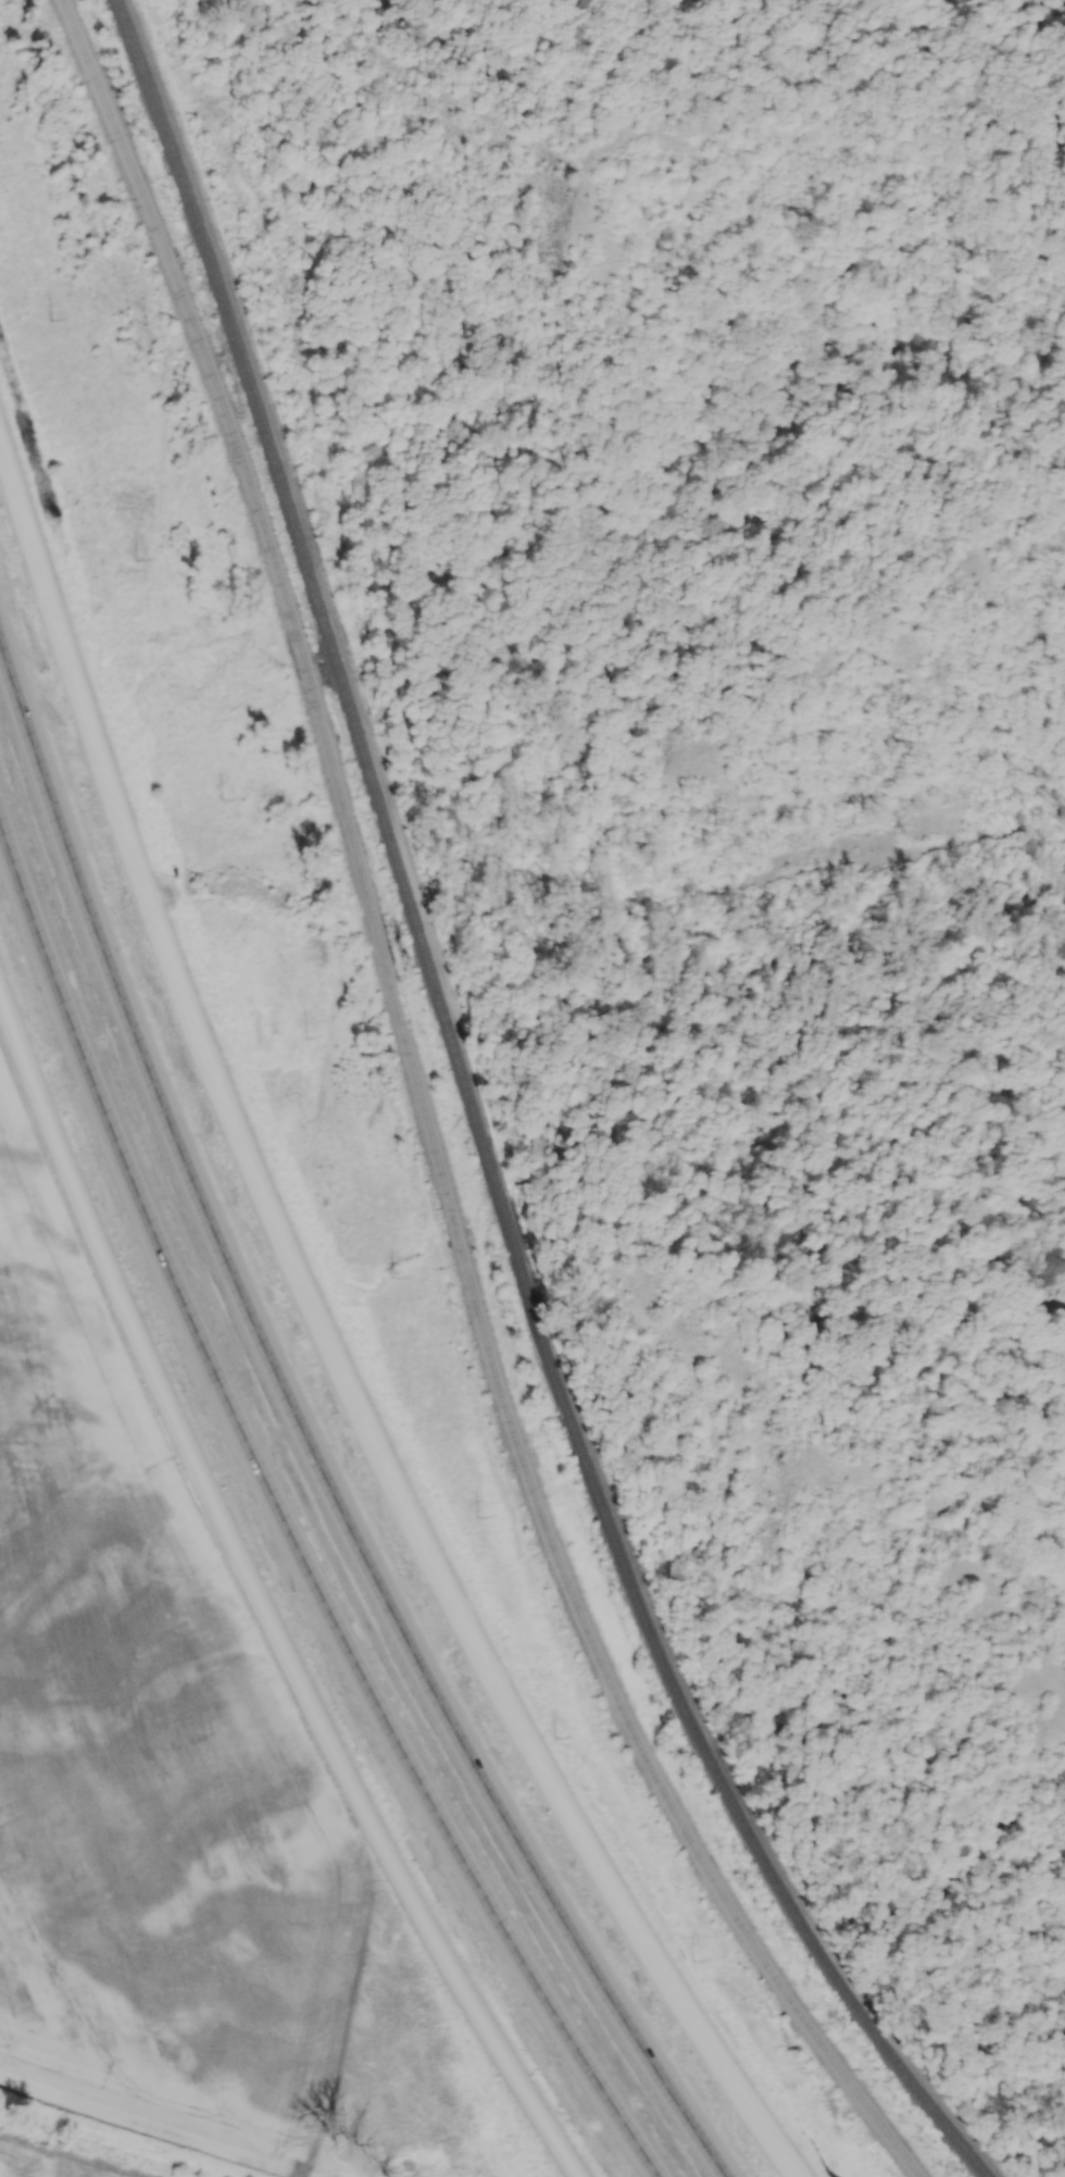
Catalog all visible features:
power tower: (50, 322)
power tower: (138, 563)
power tower: (220, 799)
power tower: (305, 1037)
railway: (425, 1119)
railway: (480, 1122)
power tower: (393, 1277)
road: (327, 1346)
road: (305, 1436)
power tower: (477, 1516)
road: (284, 1526)
road: (259, 1601)
power tower: (553, 1738)
power tower: (692, 1962)

